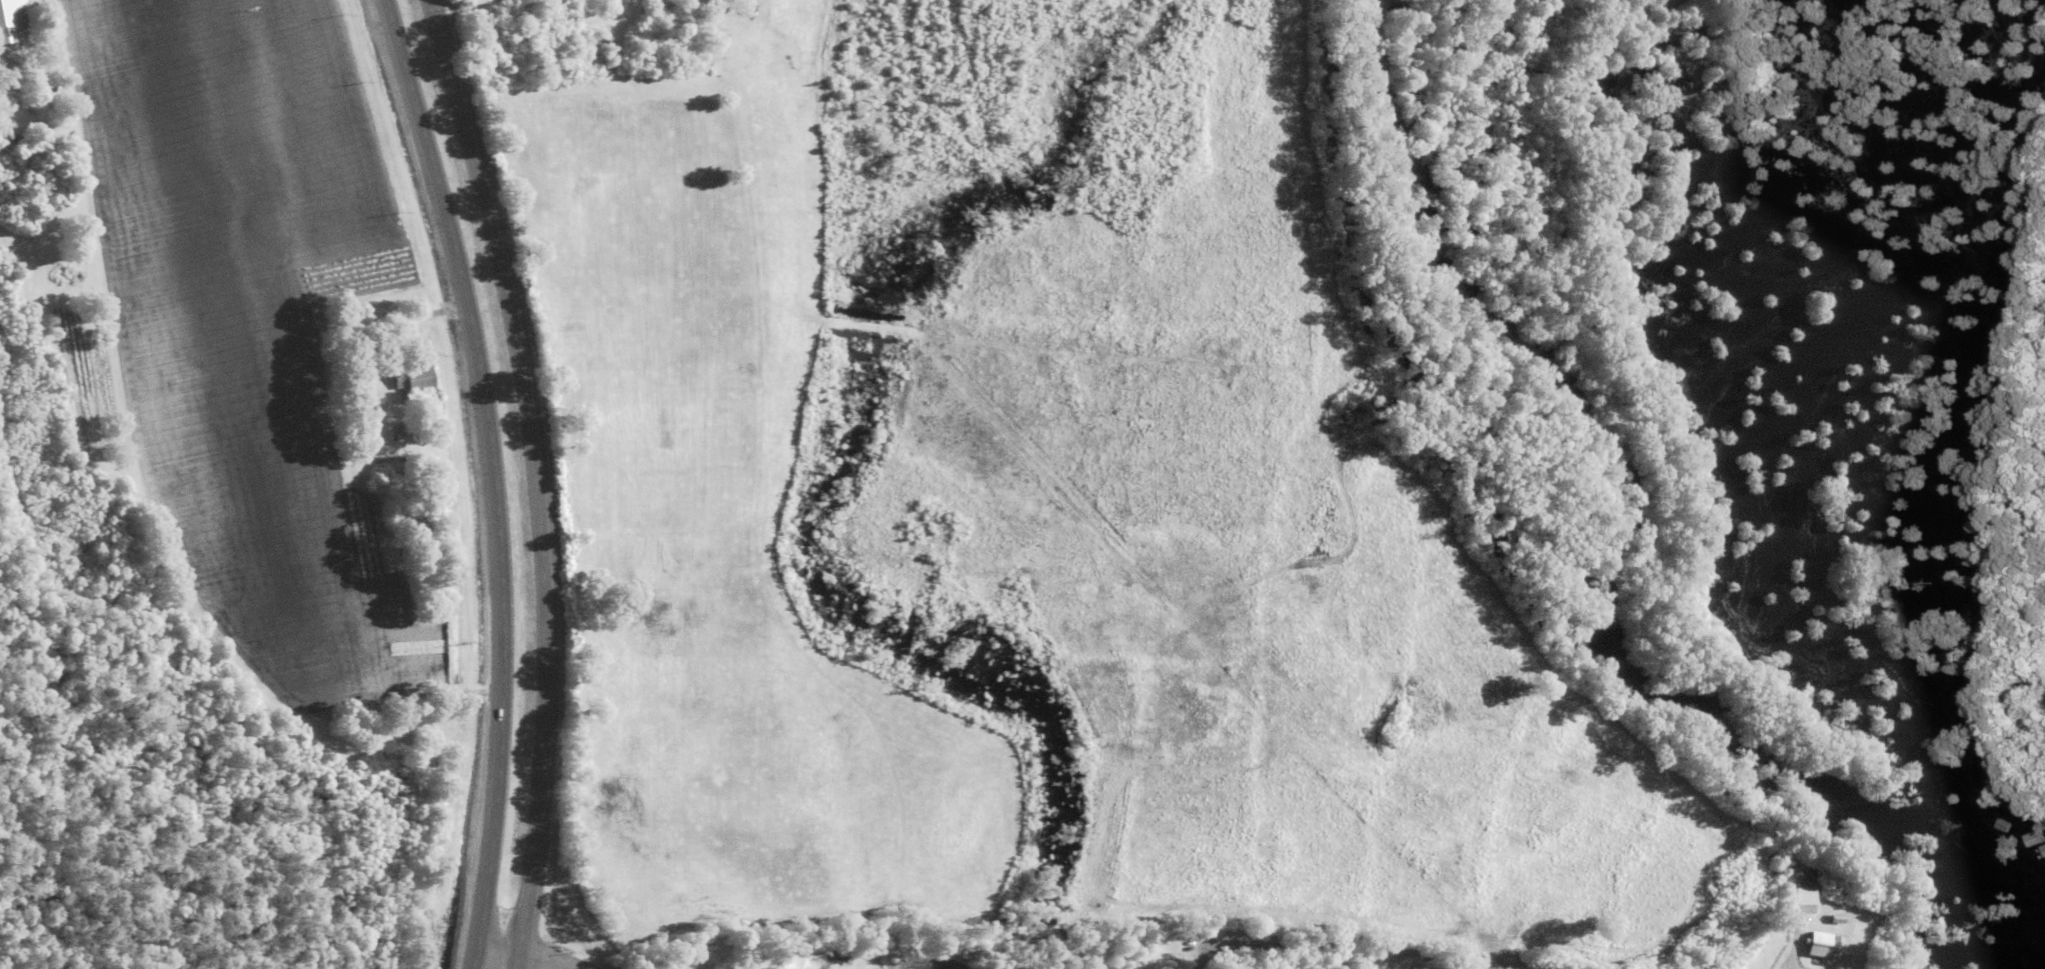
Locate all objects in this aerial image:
road: (491, 479)
road: (535, 479)
building: (1796, 899)
road: (1379, 942)
building: (1813, 943)
road: (532, 948)
road: (1830, 966)

